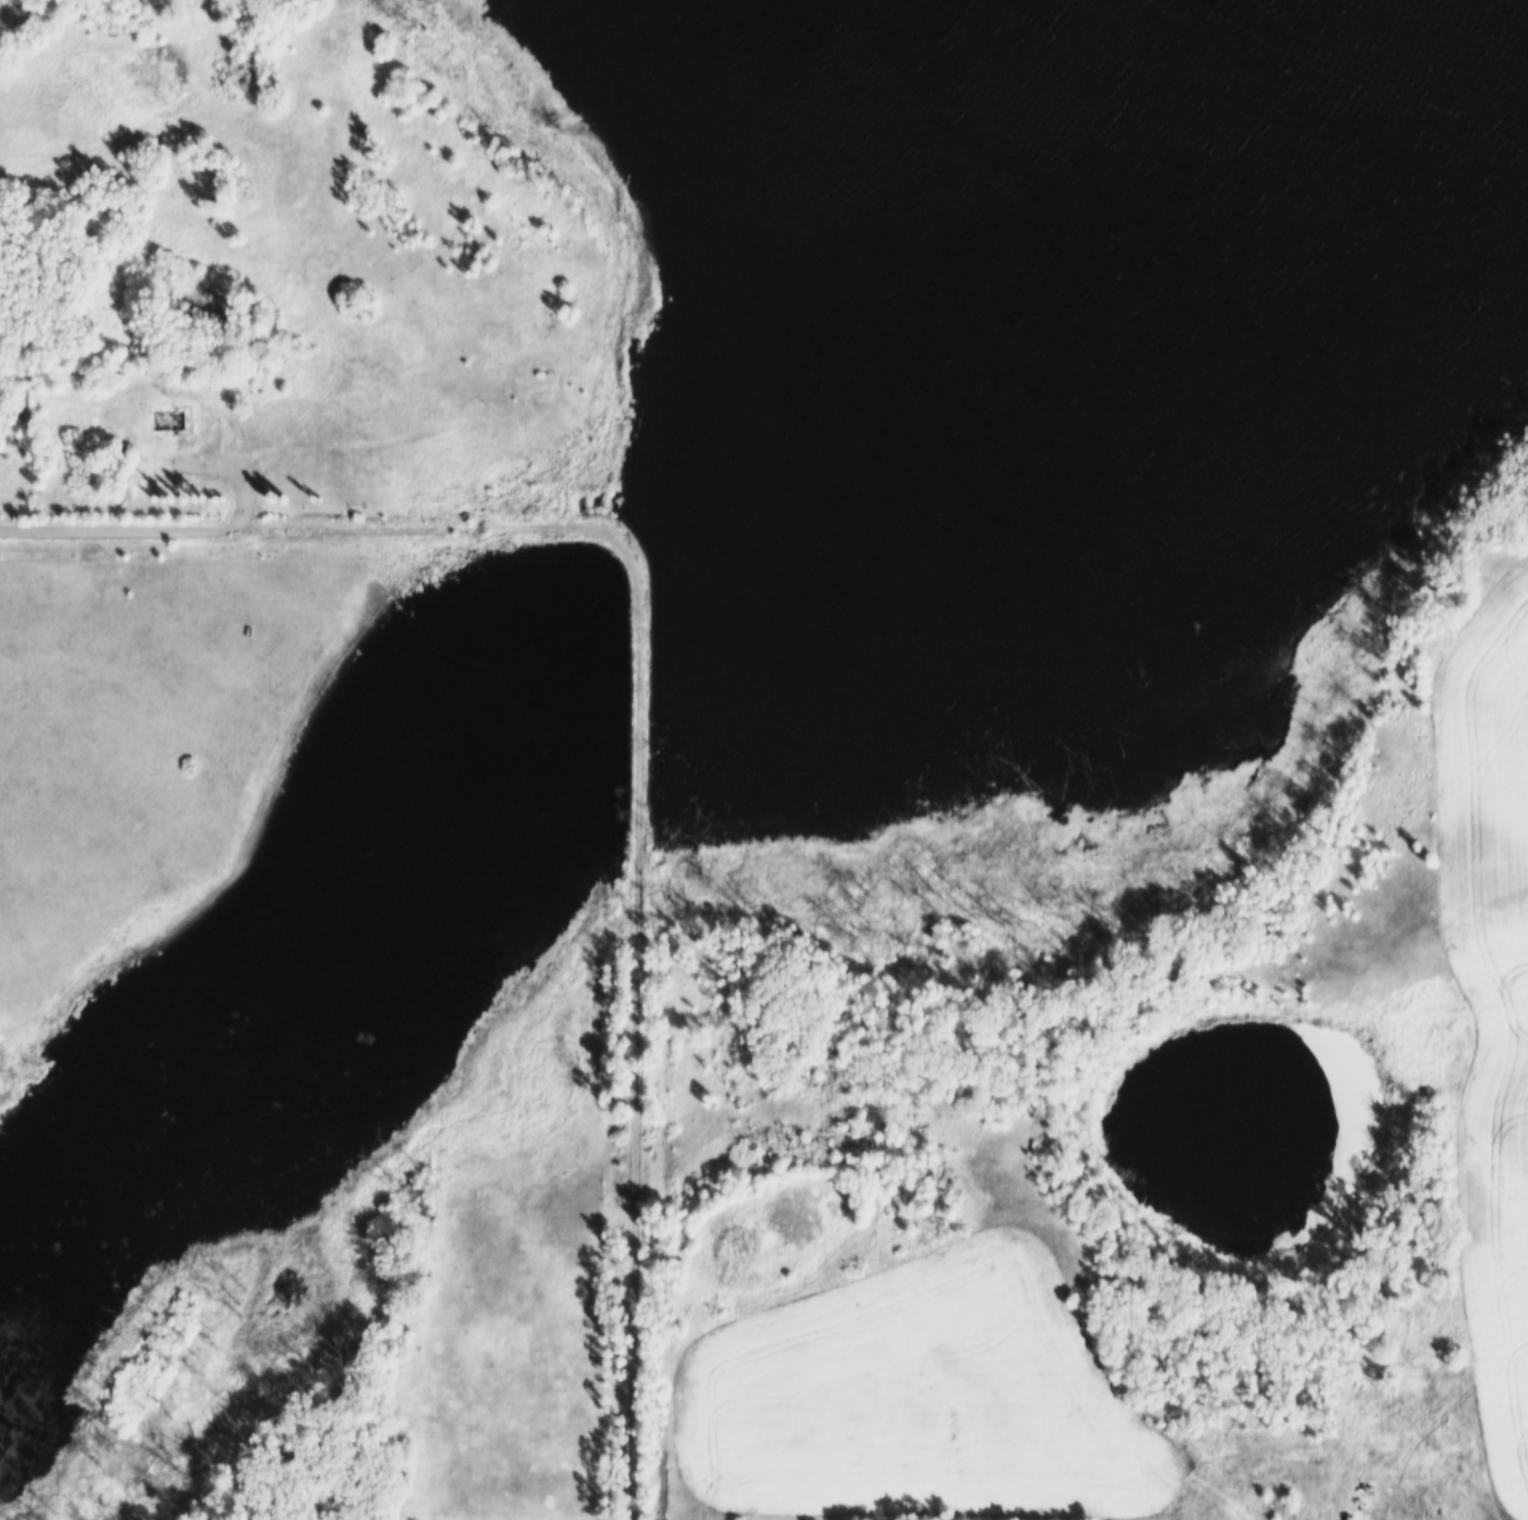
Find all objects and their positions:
building: (161, 419)
road: (322, 527)
road: (641, 811)

